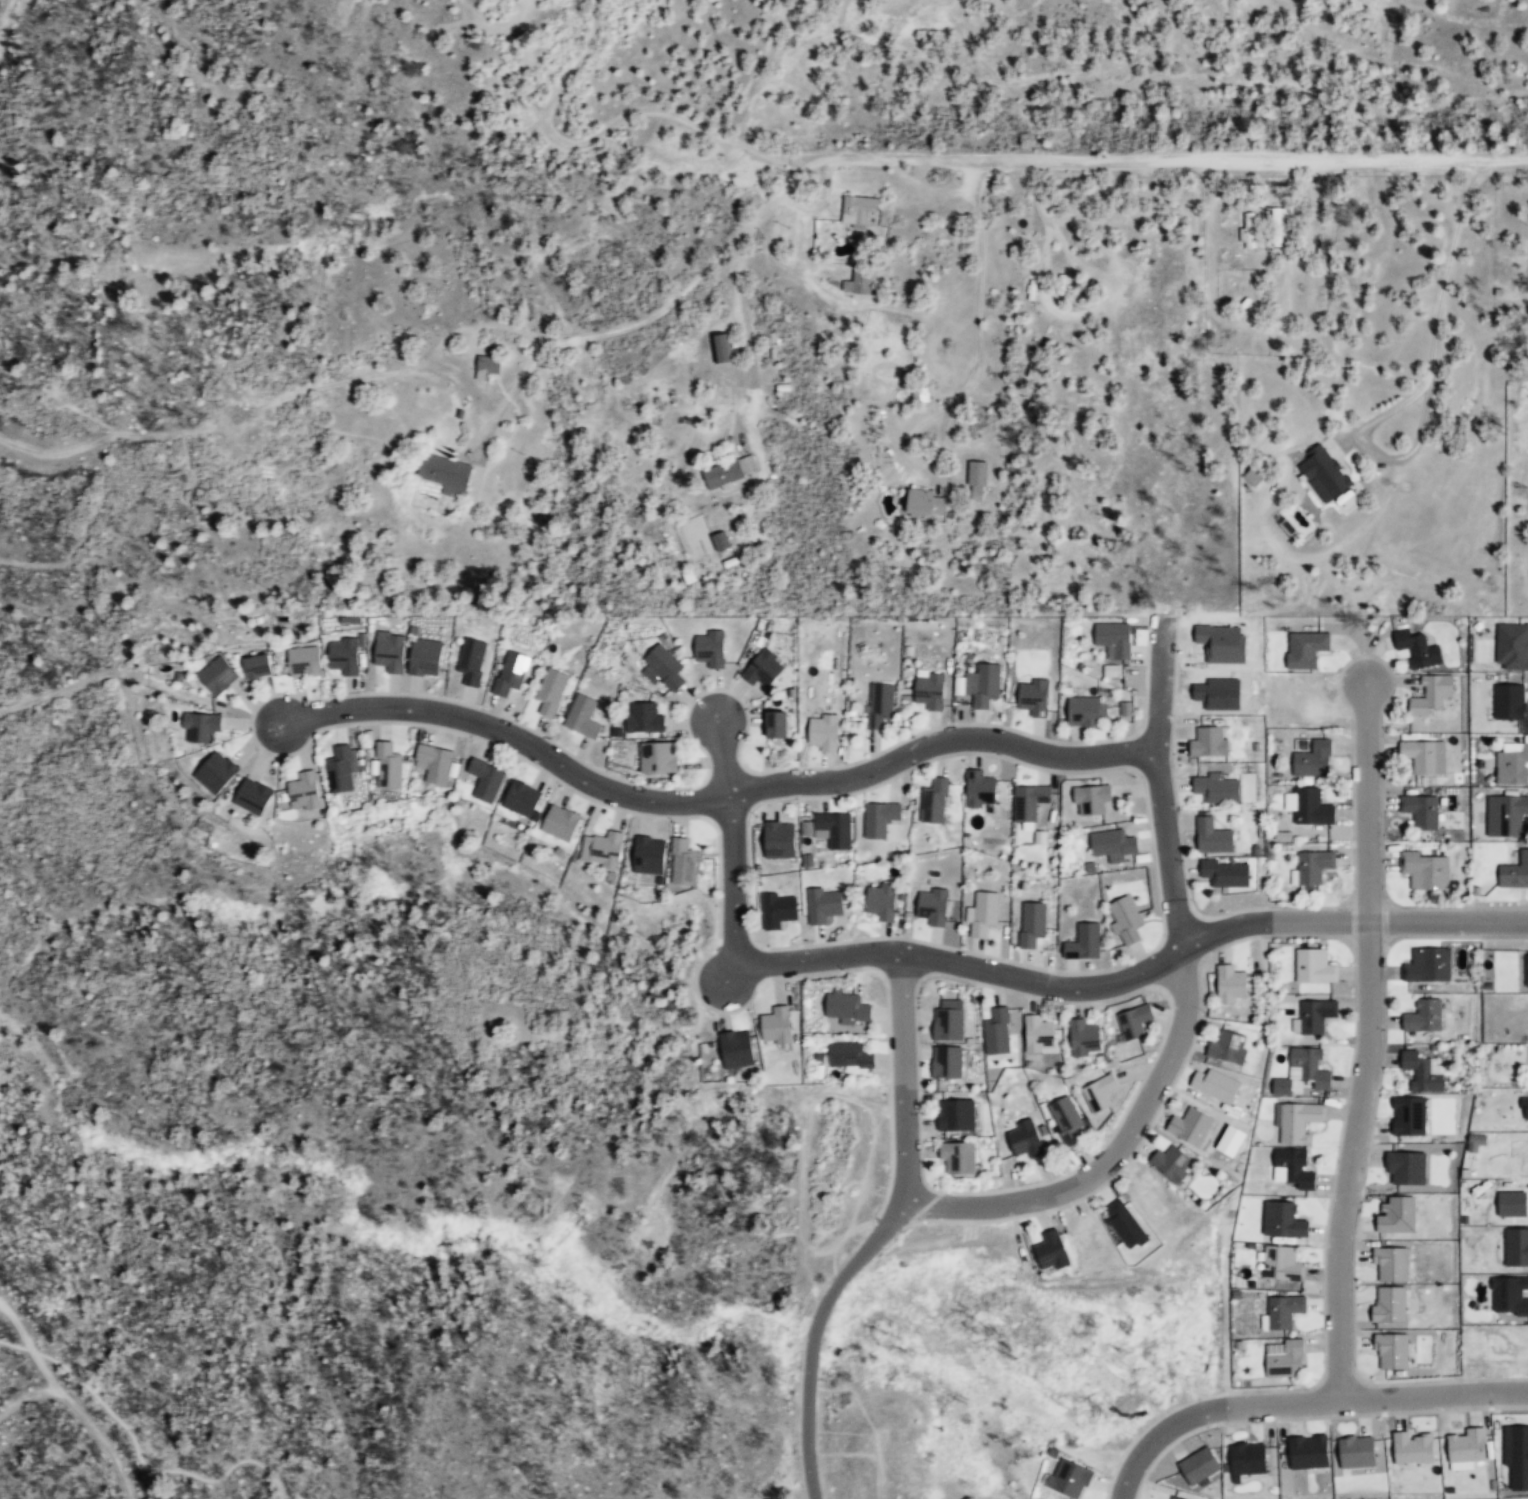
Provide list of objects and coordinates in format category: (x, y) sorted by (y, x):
road: (624, 125)
road: (1181, 161)
building: (856, 208)
building: (1277, 225)
building: (1248, 228)
building: (1139, 280)
building: (857, 281)
road: (665, 312)
building: (721, 346)
building: (487, 364)
building: (728, 469)
building: (445, 472)
building: (1323, 472)
building: (1255, 474)
building: (977, 477)
building: (925, 500)
building: (720, 539)
building: (1526, 585)
building: (1113, 639)
building: (1216, 642)
building: (1315, 643)
building: (1513, 646)
building: (709, 648)
building: (1416, 648)
building: (388, 651)
building: (342, 656)
building: (426, 657)
building: (470, 660)
building: (302, 662)
building: (256, 665)
building: (664, 665)
building: (763, 668)
building: (1112, 669)
building: (509, 672)
building: (216, 675)
building: (982, 684)
building: (929, 689)
building: (550, 690)
building: (1212, 692)
building: (1429, 695)
building: (1296, 696)
building: (1032, 697)
building: (878, 703)
building: (1508, 704)
building: (1125, 707)
building: (1083, 711)
building: (582, 716)
building: (643, 717)
building: (776, 723)
building: (199, 727)
building: (822, 730)
building: (1207, 742)
building: (657, 757)
building: (1423, 757)
building: (1312, 760)
building: (433, 762)
building: (387, 765)
building: (1512, 765)
building: (340, 768)
building: (215, 772)
building: (485, 779)
building: (979, 788)
building: (1215, 789)
building: (302, 790)
building: (252, 796)
road: (712, 798)
building: (521, 799)
building: (1090, 799)
building: (933, 801)
building: (1027, 801)
building: (1310, 808)
building: (1419, 811)
building: (1510, 815)
building: (878, 818)
building: (560, 823)
building: (807, 827)
building: (832, 829)
building: (1211, 837)
building: (778, 839)
building: (821, 842)
building: (1110, 843)
road: (730, 844)
building: (602, 849)
building: (647, 854)
building: (681, 862)
building: (1311, 869)
building: (1226, 870)
building: (1425, 870)
building: (1515, 870)
building: (880, 901)
building: (824, 904)
building: (931, 906)
building: (778, 909)
building: (981, 914)
building: (1124, 920)
building: (1030, 922)
building: (1083, 940)
building: (1313, 965)
building: (1426, 965)
building: (1526, 970)
road: (1133, 977)
building: (1231, 984)
road: (1180, 1005)
building: (845, 1007)
building: (1313, 1015)
building: (1422, 1016)
building: (947, 1019)
building: (1133, 1021)
building: (775, 1024)
building: (996, 1030)
building: (1038, 1034)
building: (1083, 1037)
road: (1368, 1042)
building: (1227, 1047)
building: (735, 1049)
building: (847, 1055)
building: (946, 1061)
building: (1309, 1066)
building: (1421, 1071)
building: (1282, 1085)
building: (1099, 1091)
building: (1214, 1091)
building: (1510, 1113)
building: (954, 1114)
building: (1408, 1115)
building: (1065, 1117)
building: (1296, 1120)
building: (1189, 1127)
building: (1025, 1137)
building: (1519, 1152)
building: (957, 1157)
building: (1170, 1162)
building: (1407, 1164)
building: (1292, 1168)
building: (1148, 1198)
building: (1514, 1204)
building: (1394, 1212)
building: (1281, 1220)
building: (1129, 1227)
road: (880, 1234)
building: (1090, 1239)
building: (1051, 1249)
building: (1504, 1252)
building: (1393, 1262)
building: (1281, 1264)
building: (1512, 1299)
building: (1394, 1305)
building: (1282, 1311)
building: (1505, 1343)
building: (1398, 1353)
building: (1285, 1360)
road: (1301, 1401)
road: (137, 1443)
building: (1465, 1447)
building: (1412, 1452)
building: (1520, 1452)
building: (1356, 1456)
building: (1306, 1459)
building: (1246, 1461)
building: (1197, 1466)
building: (1068, 1476)
road: (809, 1492)
building: (1173, 1498)

